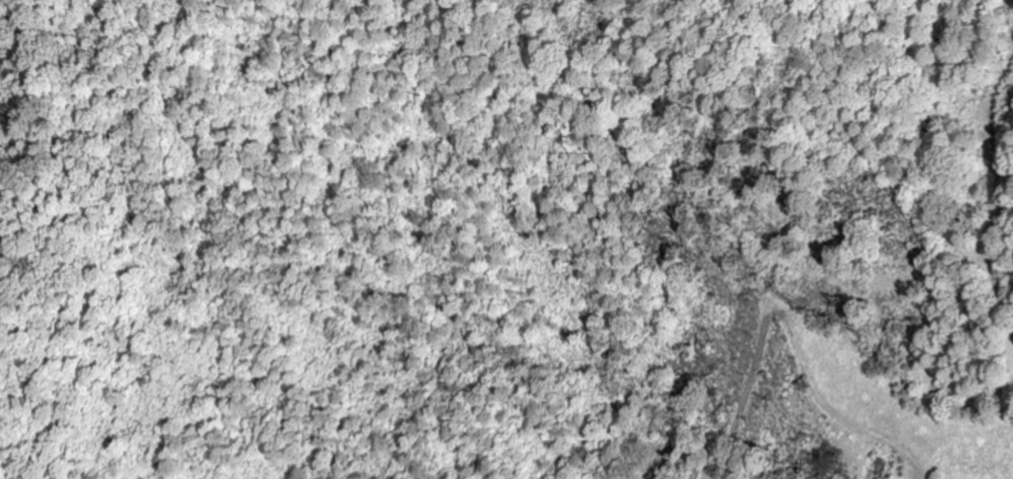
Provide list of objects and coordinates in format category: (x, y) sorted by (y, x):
park: (669, 467)

